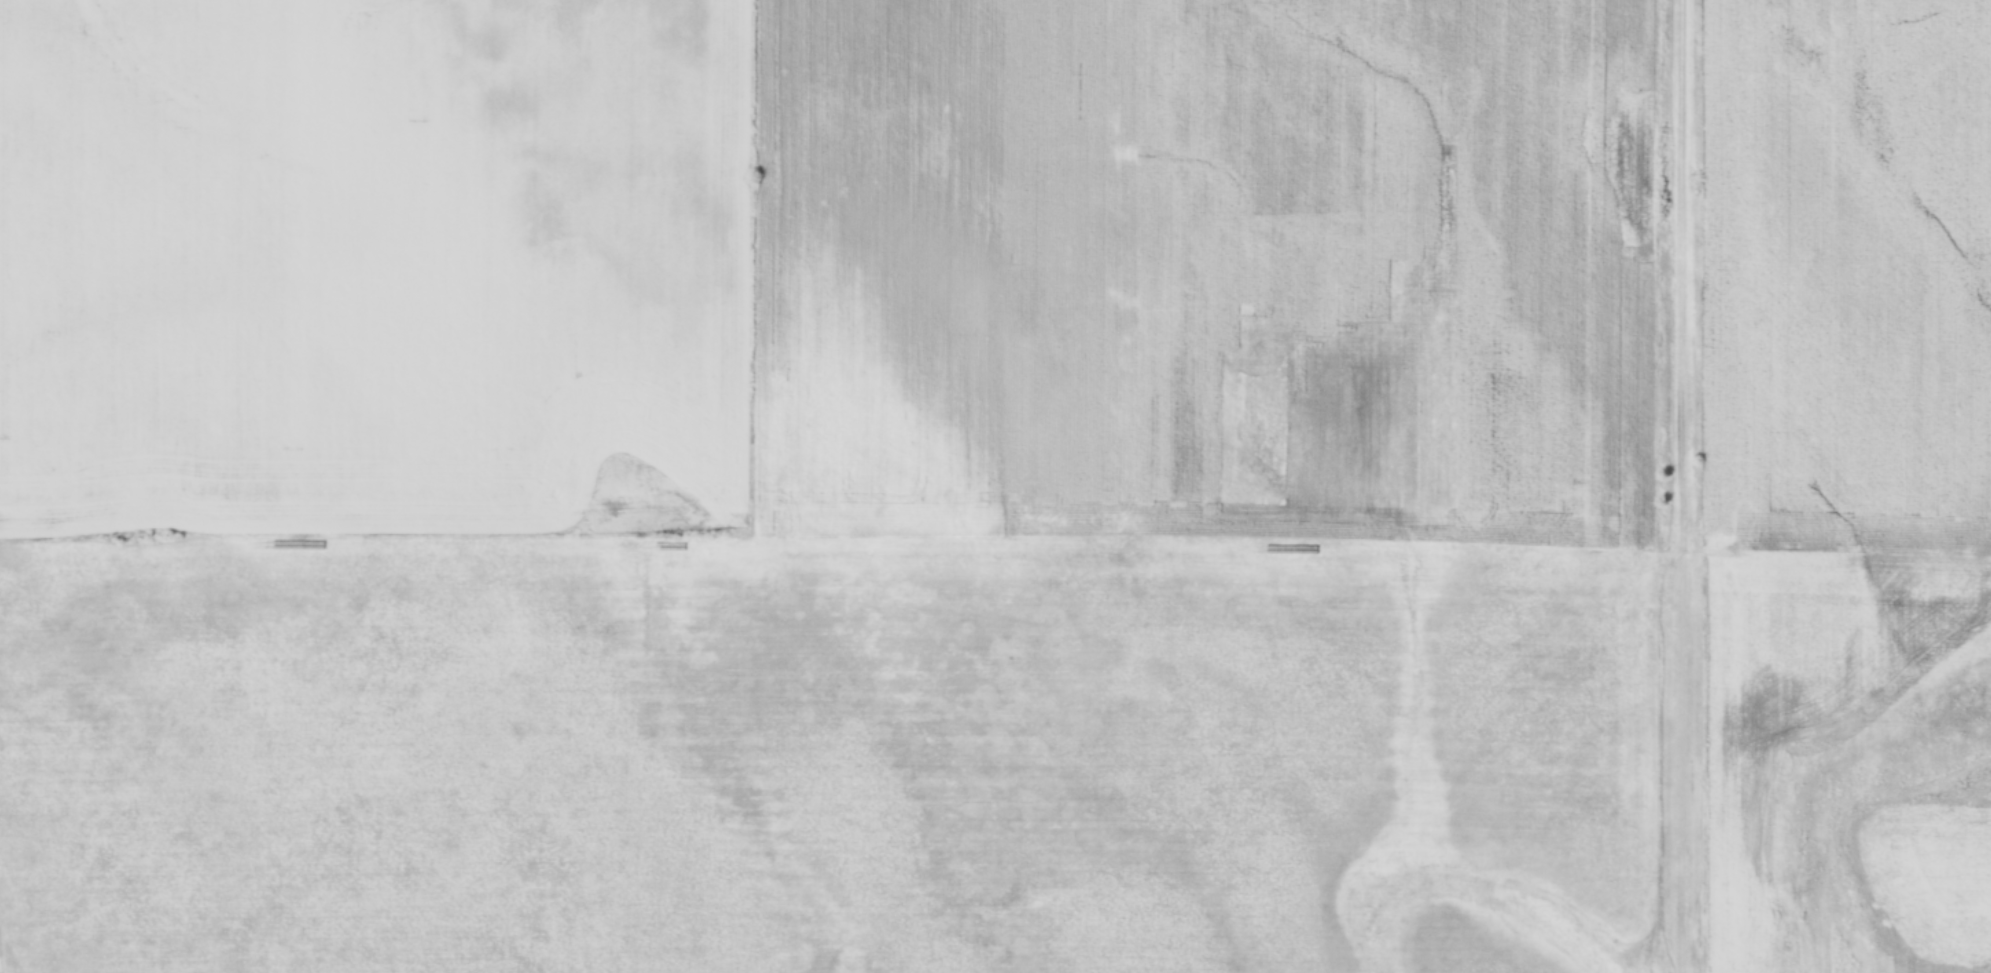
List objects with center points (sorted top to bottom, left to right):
road: (1682, 486)

